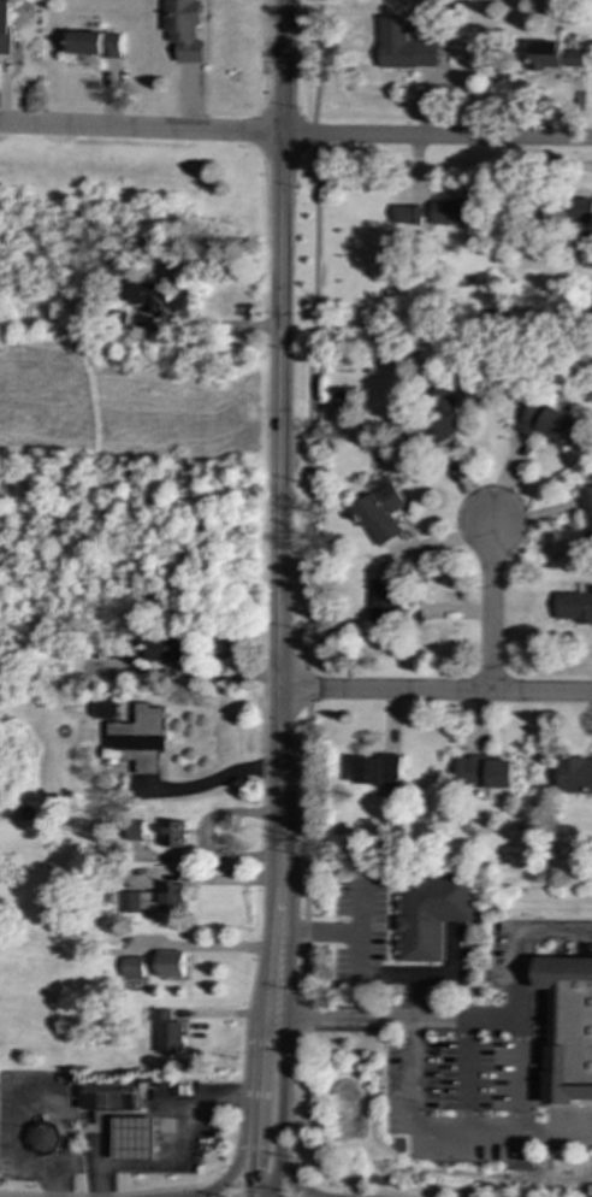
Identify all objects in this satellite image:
building: (5, 28)
building: (185, 29)
building: (96, 45)
building: (403, 47)
building: (555, 57)
road: (316, 61)
road: (312, 134)
road: (295, 136)
building: (581, 211)
building: (450, 212)
building: (410, 214)
building: (153, 297)
road: (279, 344)
road: (309, 406)
building: (442, 412)
building: (546, 421)
building: (586, 507)
building: (381, 512)
building: (383, 600)
building: (574, 606)
road: (491, 608)
building: (166, 649)
road: (201, 673)
road: (304, 685)
road: (434, 691)
building: (105, 710)
building: (138, 738)
building: (375, 769)
building: (484, 772)
building: (574, 774)
road: (279, 789)
road: (303, 810)
building: (134, 831)
building: (173, 833)
building: (154, 900)
building: (430, 912)
road: (279, 930)
road: (306, 932)
road: (273, 940)
road: (207, 948)
road: (359, 962)
building: (171, 965)
building: (132, 973)
road: (306, 973)
road: (302, 1016)
road: (492, 1016)
building: (567, 1027)
building: (168, 1032)
road: (284, 1042)
road: (256, 1095)
building: (113, 1096)
road: (244, 1103)
road: (295, 1105)
gas station: (154, 1127)
building: (46, 1139)
building: (136, 1140)
road: (221, 1183)
road: (292, 1183)
road: (294, 1186)
road: (355, 1190)
road: (227, 1193)
road: (257, 1193)
road: (108, 1196)
road: (286, 1196)

